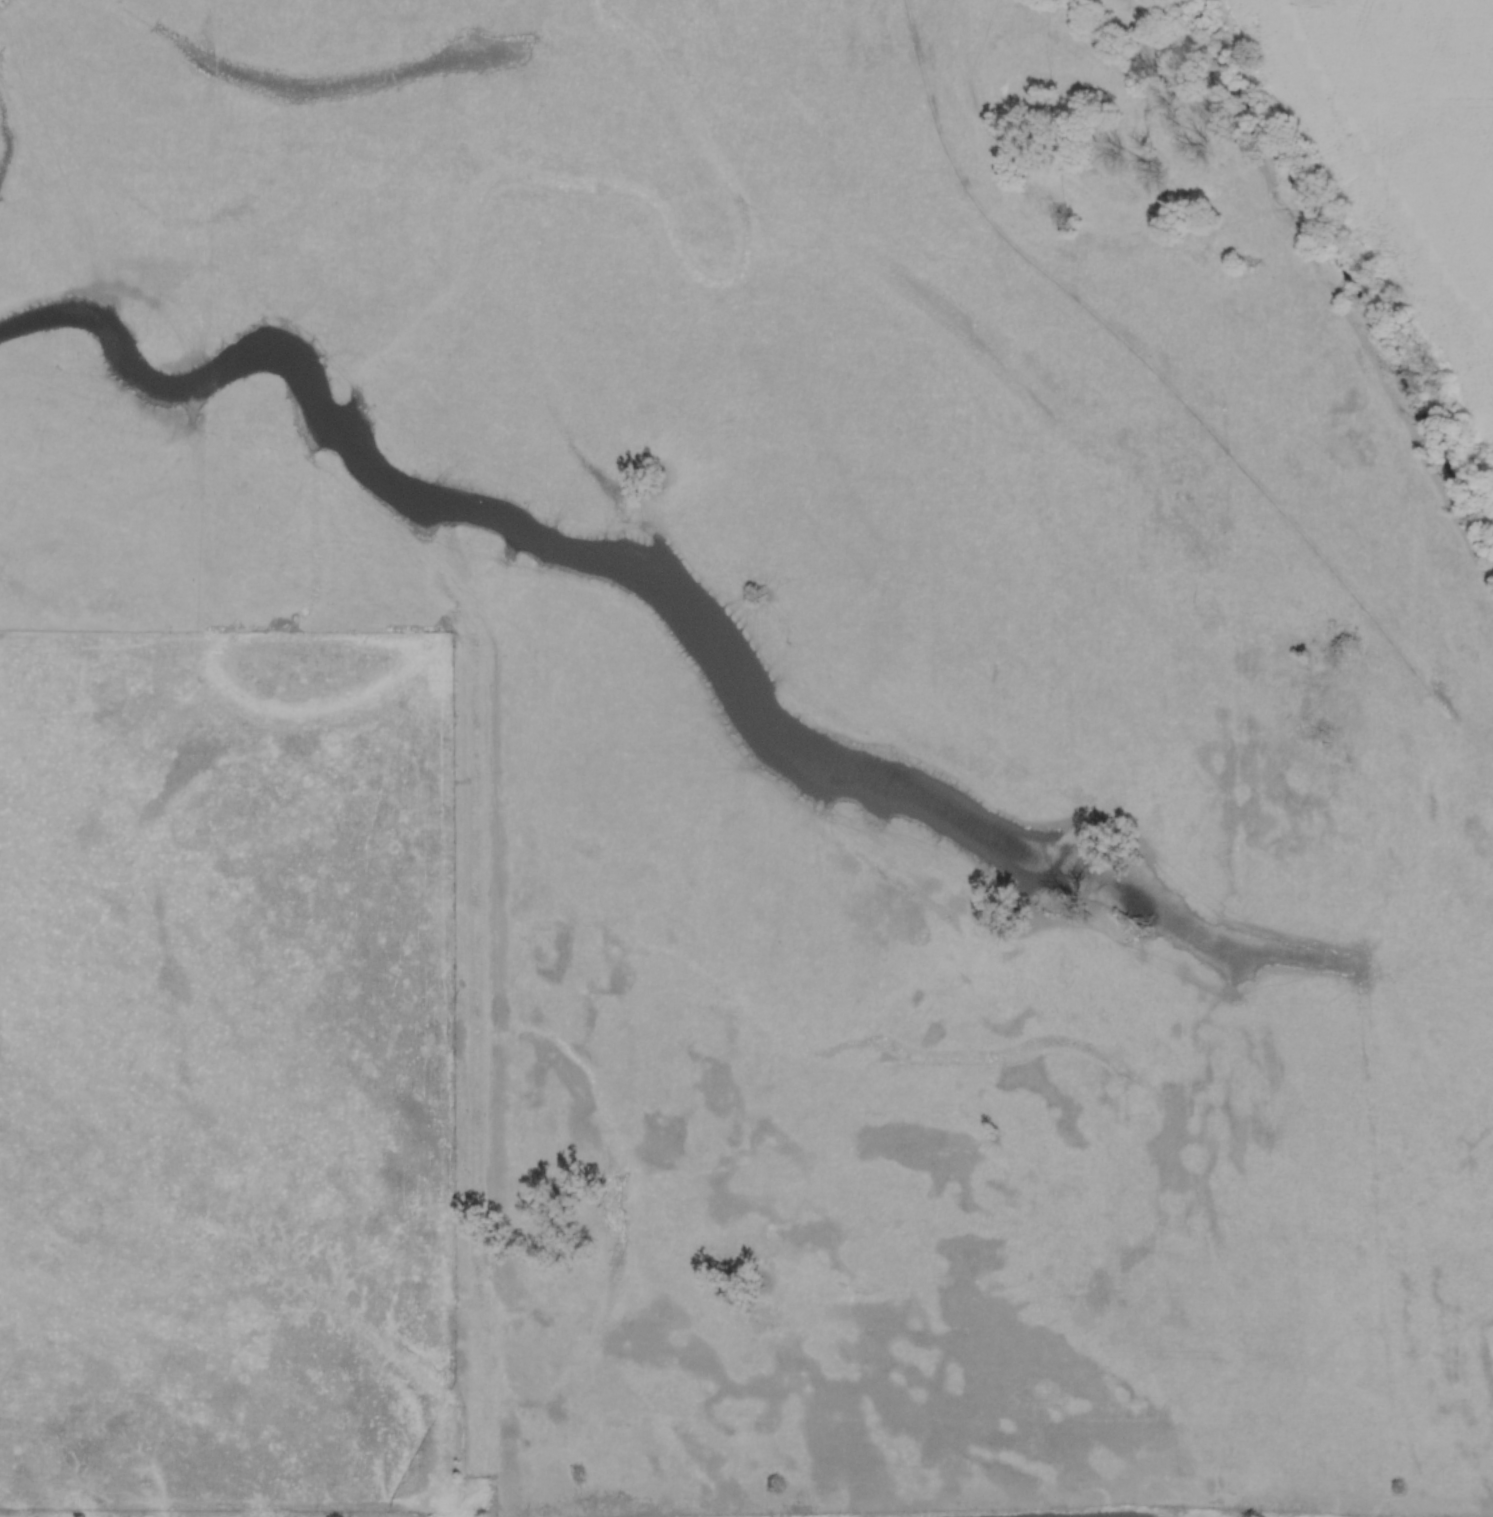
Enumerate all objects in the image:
river: (1352, 249)

